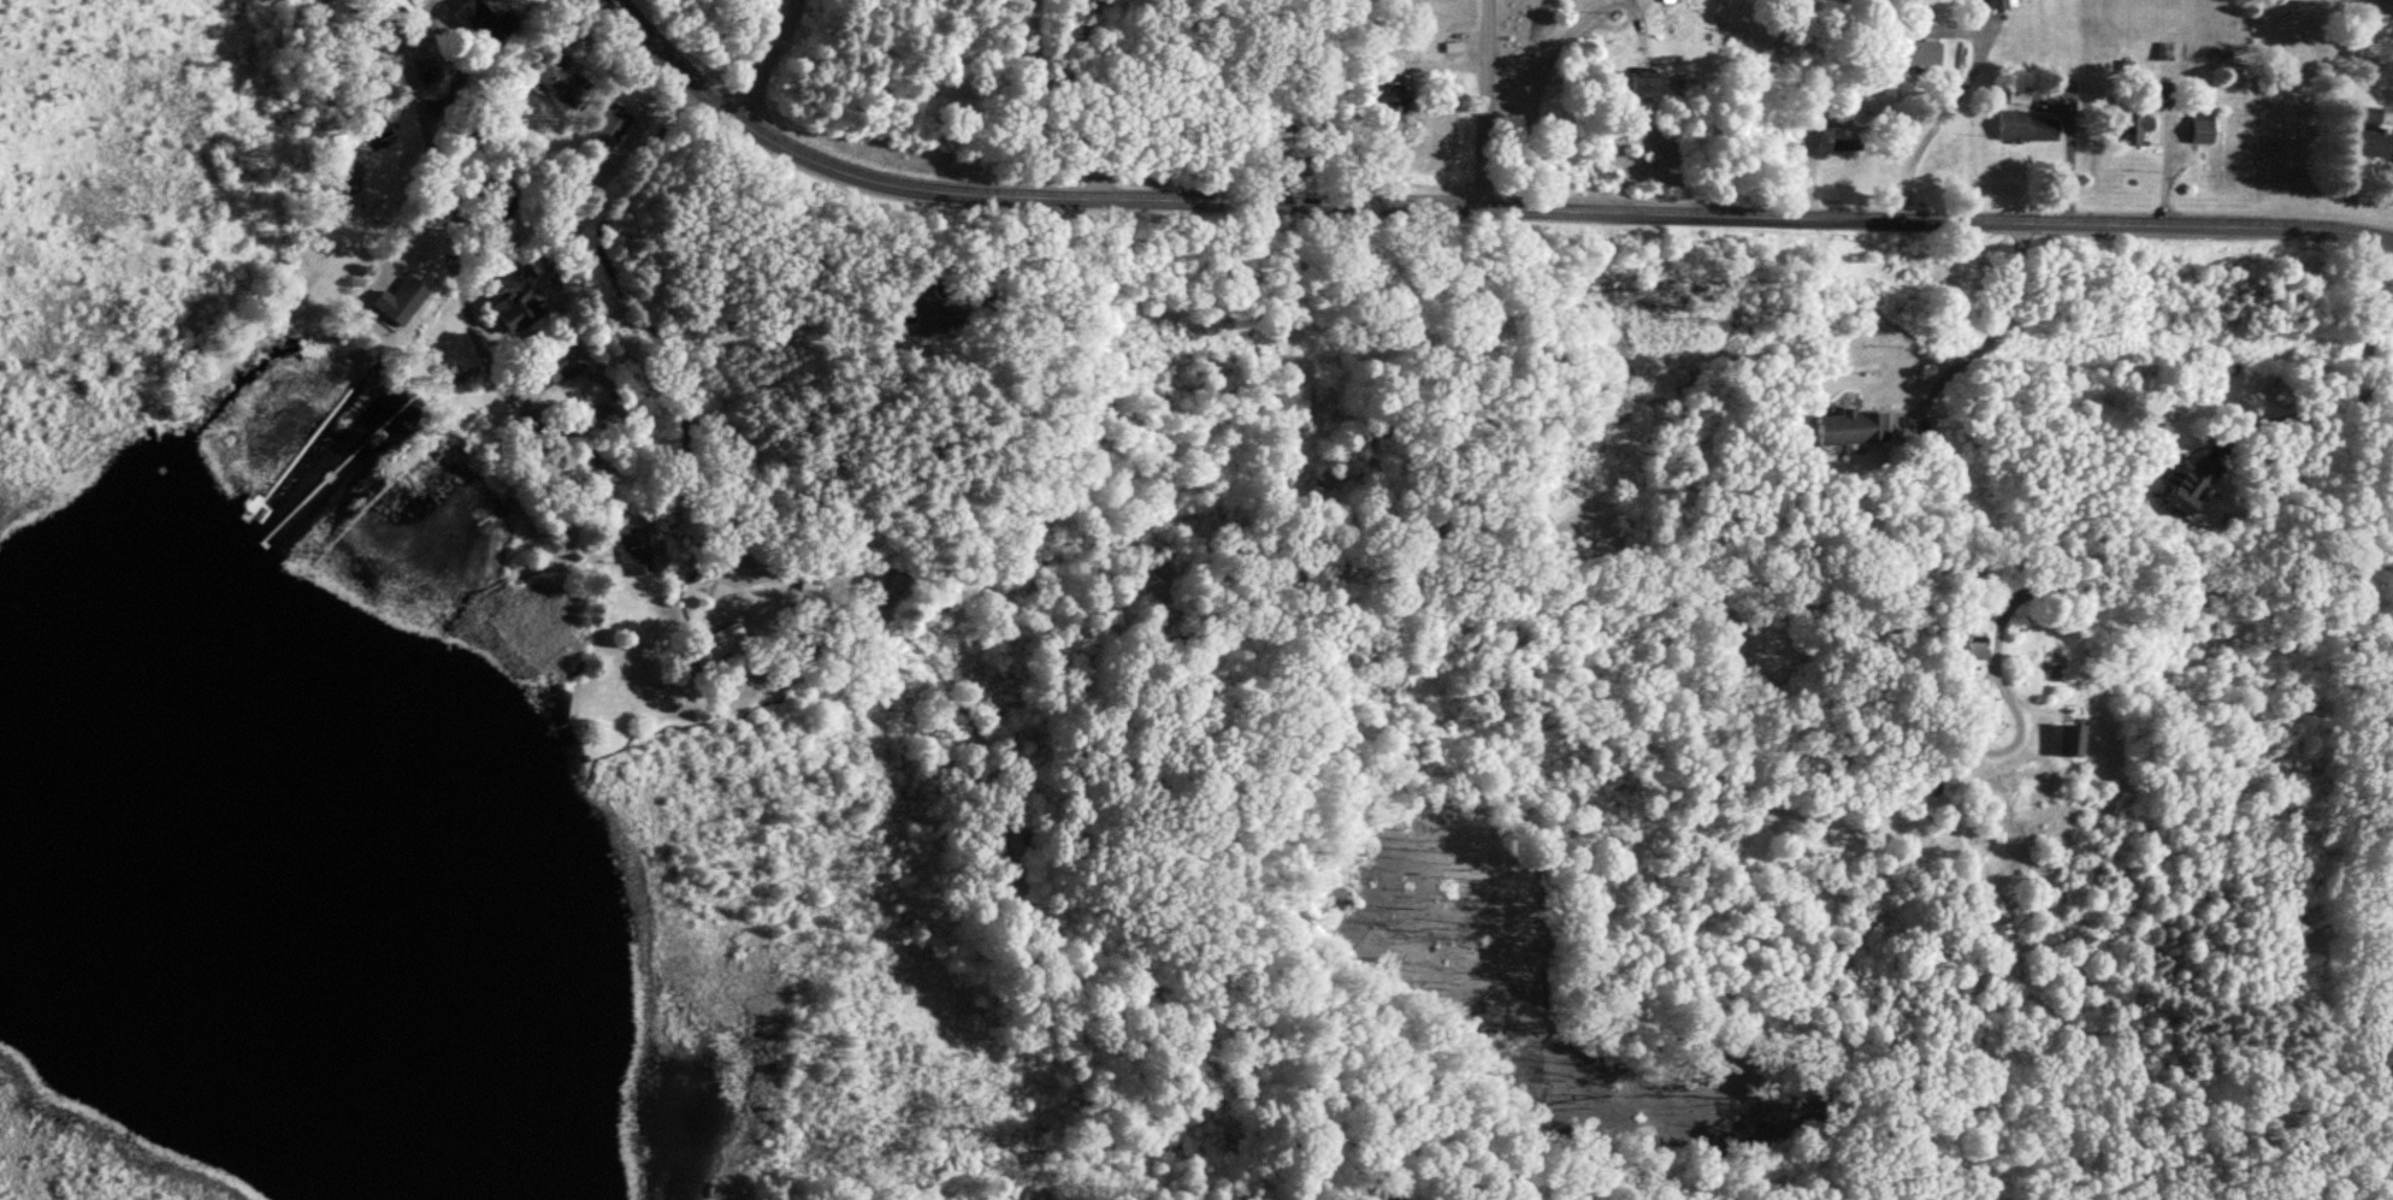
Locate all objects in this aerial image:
building: (1998, 7)
building: (473, 25)
building: (1921, 58)
road: (762, 59)
building: (550, 85)
building: (1635, 88)
road: (1525, 93)
building: (2014, 99)
road: (1062, 100)
road: (1477, 105)
building: (1389, 111)
road: (1943, 123)
building: (2026, 132)
building: (2202, 134)
building: (2131, 135)
building: (2371, 140)
building: (345, 183)
road: (1472, 209)
road: (444, 225)
building: (418, 294)
building: (516, 312)
road: (1986, 329)
building: (543, 368)
road: (2300, 407)
building: (1849, 433)
building: (2184, 490)
building: (638, 557)
road: (2274, 581)
building: (808, 604)
building: (1969, 649)
building: (2072, 745)

